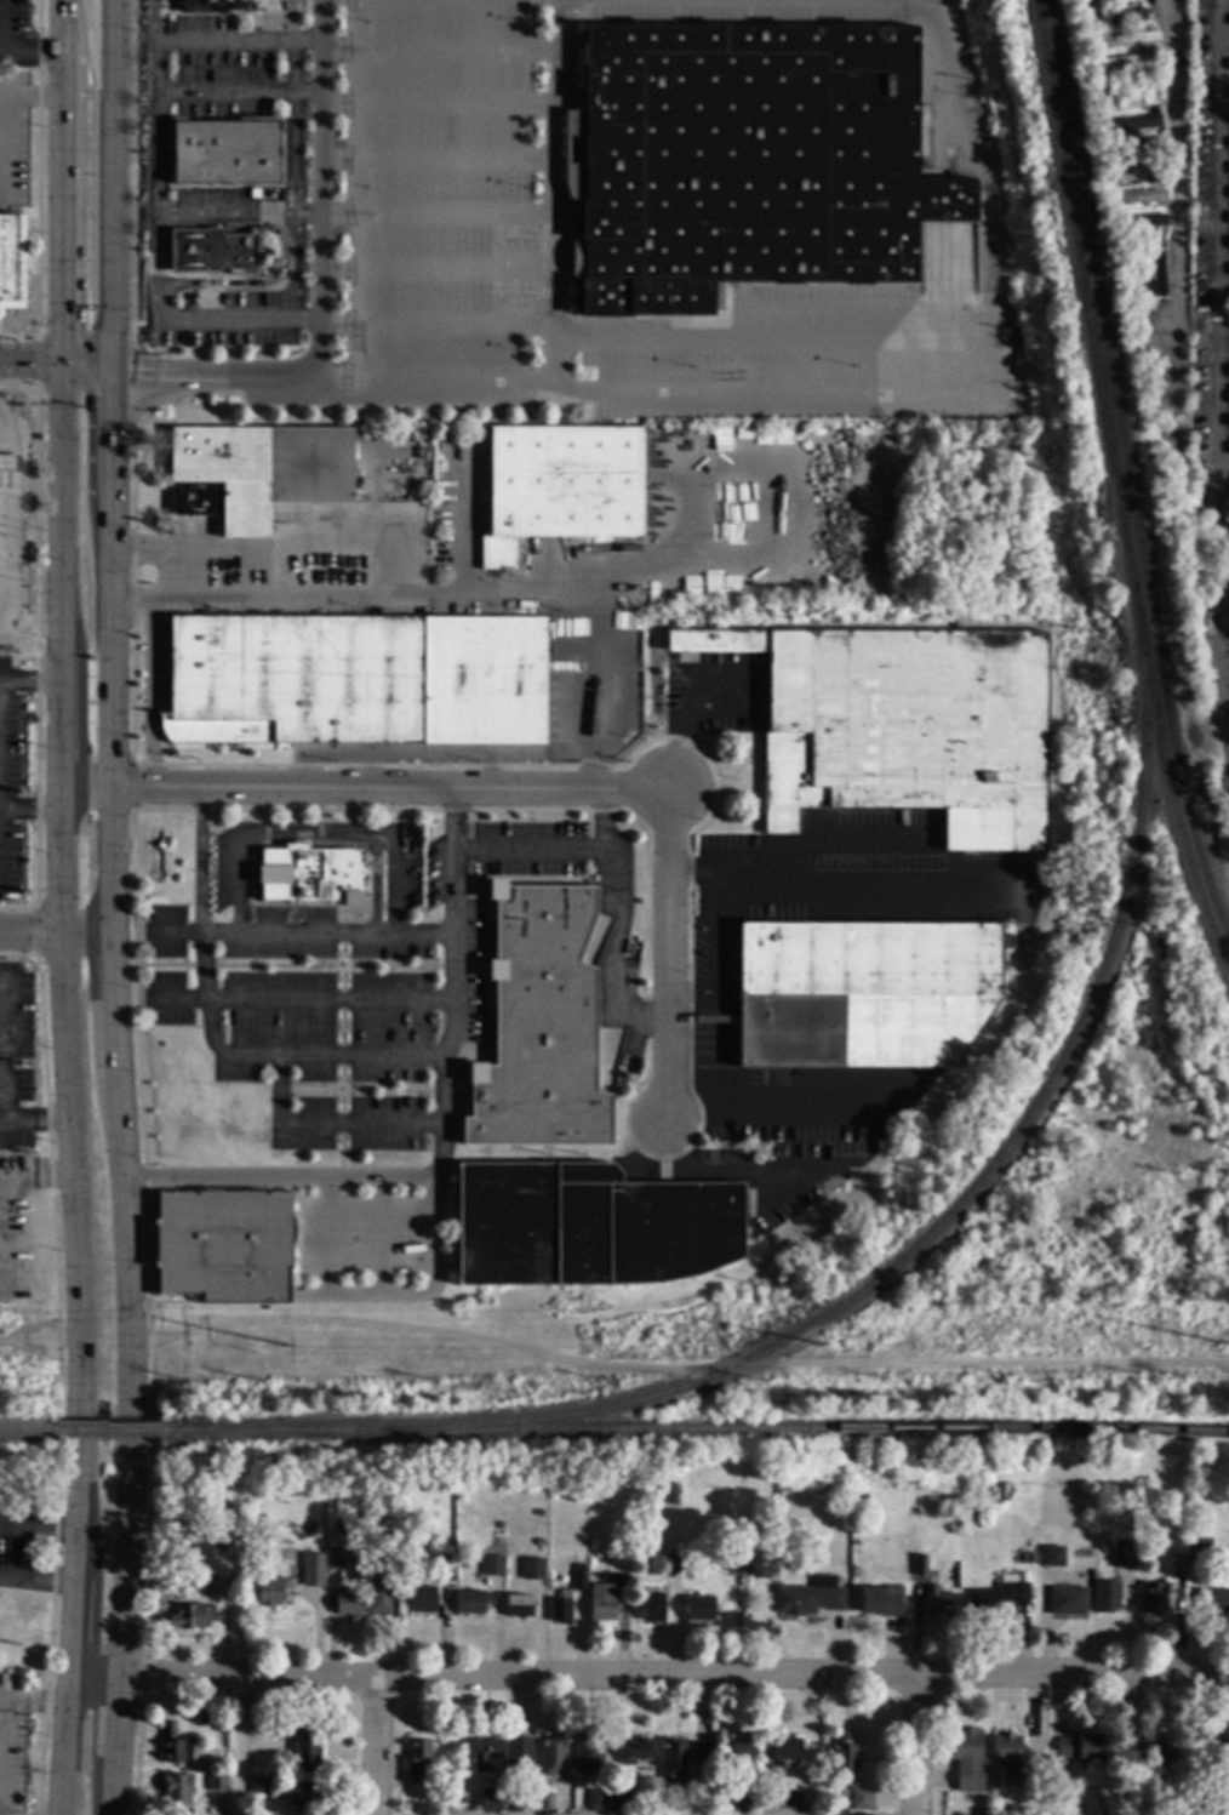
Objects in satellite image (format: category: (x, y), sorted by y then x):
building: (1109, 1)
building: (205, 6)
building: (1082, 13)
road: (150, 15)
building: (1116, 19)
road: (150, 21)
road: (290, 22)
road: (63, 27)
road: (0, 28)
building: (1127, 40)
building: (1087, 42)
road: (1224, 45)
road: (440, 50)
road: (30, 55)
road: (93, 59)
building: (1128, 62)
building: (1096, 65)
road: (238, 95)
building: (1133, 103)
building: (1103, 110)
building: (1228, 114)
road: (156, 120)
building: (1133, 125)
building: (1228, 139)
building: (1110, 141)
building: (1138, 145)
building: (225, 153)
building: (745, 162)
road: (38, 167)
building: (1228, 170)
road: (131, 171)
road: (155, 175)
building: (1138, 175)
building: (1113, 189)
road: (112, 190)
road: (320, 192)
road: (553, 192)
building: (1141, 196)
road: (292, 199)
road: (61, 209)
road: (307, 217)
building: (1115, 222)
building: (1143, 222)
building: (1141, 245)
building: (211, 252)
building: (11, 262)
road: (295, 269)
building: (1155, 270)
road: (142, 293)
road: (1173, 312)
traffic signals: (61, 327)
road: (647, 335)
road: (84, 338)
road: (38, 361)
road: (30, 364)
road: (1216, 370)
building: (1228, 371)
road: (86, 372)
railway: (1102, 381)
traffic signals: (138, 382)
road: (215, 382)
road: (131, 386)
road: (930, 393)
building: (1228, 422)
traffic signals: (112, 438)
road: (112, 445)
building: (7, 463)
road: (1222, 468)
building: (256, 472)
railway: (1124, 473)
building: (560, 486)
railway: (1114, 489)
road: (18, 510)
road: (371, 512)
road: (61, 521)
road: (463, 523)
road: (370, 527)
road: (408, 569)
road: (870, 584)
road: (131, 595)
road: (30, 635)
road: (112, 650)
road: (701, 672)
road: (29, 680)
building: (358, 680)
road: (590, 691)
road: (148, 694)
building: (903, 727)
road: (61, 735)
road: (318, 753)
road: (428, 753)
road: (130, 788)
road: (86, 791)
road: (132, 791)
road: (176, 791)
road: (438, 791)
road: (61, 801)
road: (30, 812)
road: (383, 834)
road: (839, 844)
road: (235, 854)
road: (560, 855)
road: (198, 862)
road: (38, 863)
road: (112, 863)
building: (309, 874)
road: (842, 879)
road: (131, 889)
road: (56, 934)
road: (296, 935)
road: (715, 958)
road: (673, 963)
road: (164, 965)
road: (204, 966)
road: (327, 966)
road: (452, 966)
building: (864, 993)
road: (116, 1008)
building: (537, 1026)
road: (402, 1057)
road: (68, 1075)
road: (785, 1094)
road: (35, 1121)
road: (730, 1174)
road: (339, 1180)
railway: (968, 1192)
road: (0, 1193)
road: (0, 1198)
road: (126, 1212)
building: (588, 1227)
building: (224, 1246)
road: (22, 1330)
road: (70, 1337)
road: (50, 1339)
road: (22, 1341)
road: (1, 1342)
power tower: (814, 1347)
power tower: (1221, 1347)
road: (23, 1349)
power tower: (285, 1349)
road: (676, 1369)
railway: (406, 1399)
road: (84, 1408)
road: (131, 1415)
railway: (696, 1431)
railway: (29, 1433)
railway: (112, 1433)
building: (862, 1497)
building: (375, 1520)
building: (259, 1523)
building: (498, 1525)
building: (258, 1535)
building: (378, 1542)
building: (537, 1542)
building: (239, 1547)
building: (1199, 1548)
building: (1122, 1553)
building: (1052, 1557)
building: (337, 1558)
building: (1027, 1558)
building: (738, 1562)
building: (440, 1564)
building: (491, 1565)
building: (670, 1565)
building: (919, 1565)
building: (1177, 1566)
building: (531, 1569)
building: (311, 1570)
road: (52, 1576)
building: (579, 1577)
road: (126, 1579)
road: (38, 1583)
building: (201, 1585)
building: (270, 1591)
building: (378, 1597)
building: (810, 1597)
building: (996, 1597)
building: (1105, 1597)
building: (1151, 1598)
building: (419, 1599)
building: (470, 1602)
building: (880, 1602)
building: (934, 1602)
building: (1067, 1602)
building: (1213, 1602)
building: (347, 1603)
building: (601, 1603)
building: (518, 1606)
building: (560, 1608)
building: (653, 1609)
building: (698, 1609)
building: (188, 1617)
road: (73, 1646)
road: (97, 1674)
road: (676, 1678)
road: (5, 1705)
road: (120, 1724)
building: (221, 1728)
building: (173, 1746)
road: (241, 1746)
road: (911, 1746)
building: (1161, 1746)
road: (375, 1747)
building: (305, 1748)
building: (1080, 1748)
building: (784, 1750)
building: (485, 1751)
building: (631, 1751)
building: (741, 1751)
building: (1217, 1752)
building: (518, 1753)
building: (699, 1753)
building: (587, 1754)
building: (551, 1756)
building: (844, 1756)
building: (1006, 1758)
building: (417, 1760)
building: (673, 1763)
building: (966, 1763)
building: (1128, 1768)
building: (216, 1781)
building: (259, 1787)
building: (176, 1790)
road: (114, 1793)
building: (304, 1796)
building: (766, 1799)
building: (787, 1799)
building: (859, 1799)
building: (594, 1800)
building: (488, 1802)
building: (511, 1802)
building: (545, 1802)
building: (617, 1802)
building: (742, 1802)
building: (455, 1803)
building: (978, 1813)
building: (1101, 1813)
building: (223, 1814)

